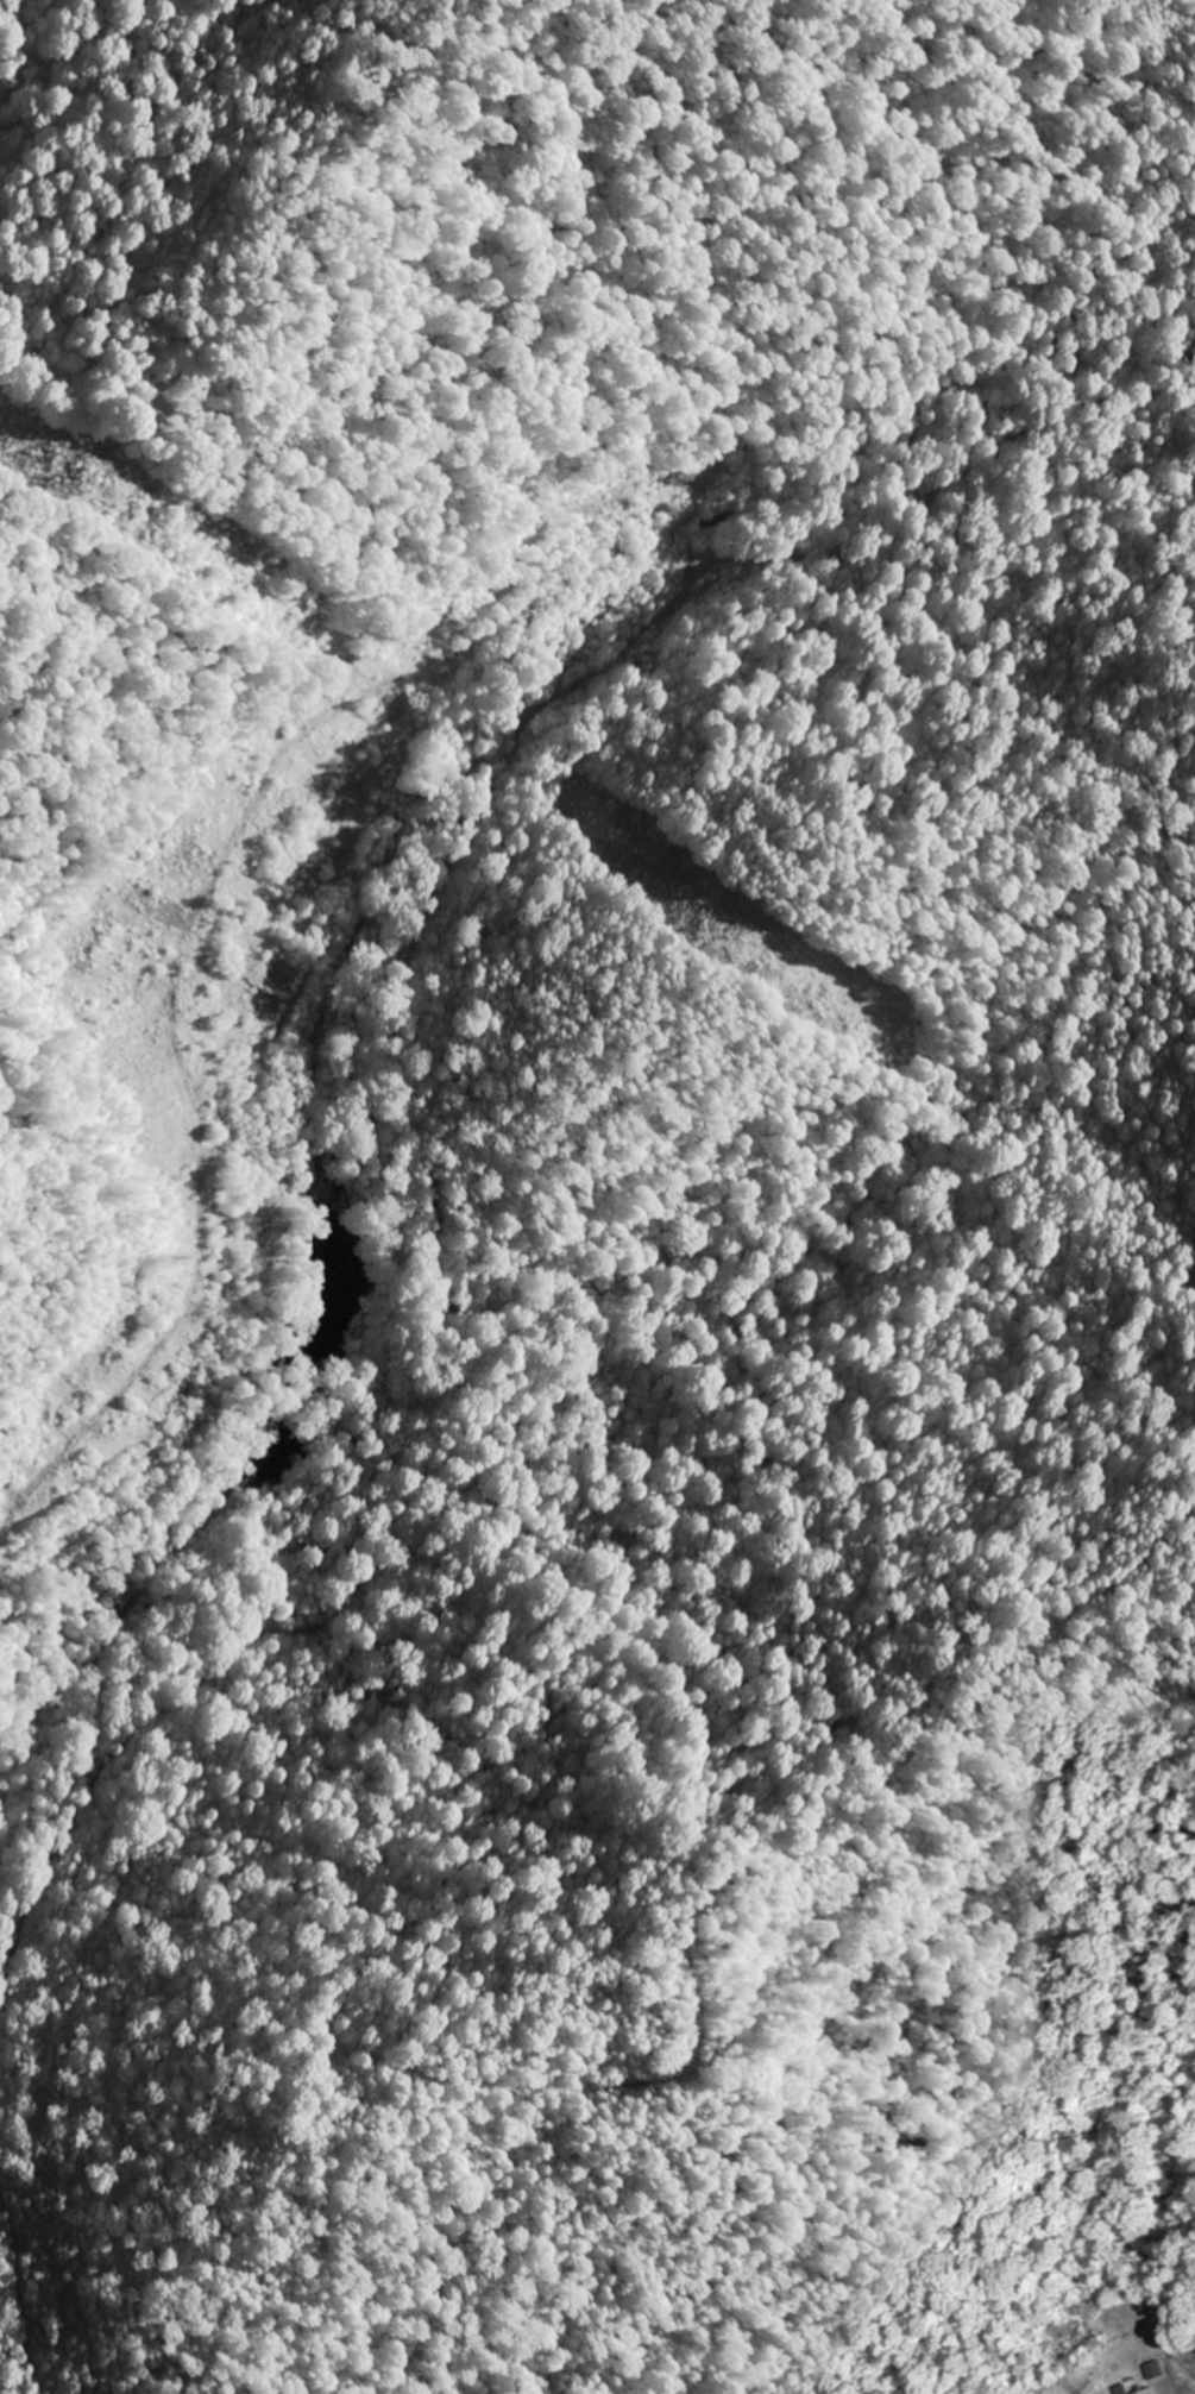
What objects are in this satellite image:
building: (1120, 2389)
building: (1146, 2392)

